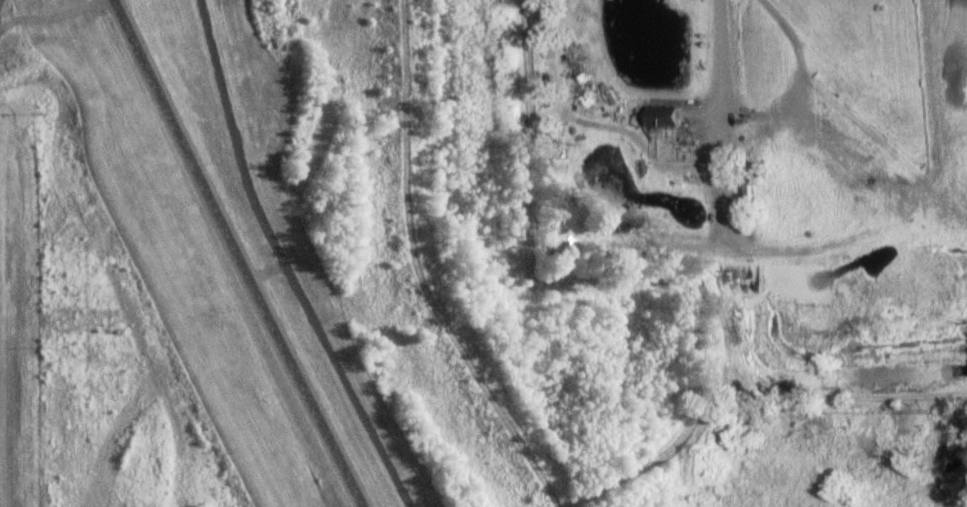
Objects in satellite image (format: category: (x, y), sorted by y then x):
road: (761, 113)
building: (660, 116)

